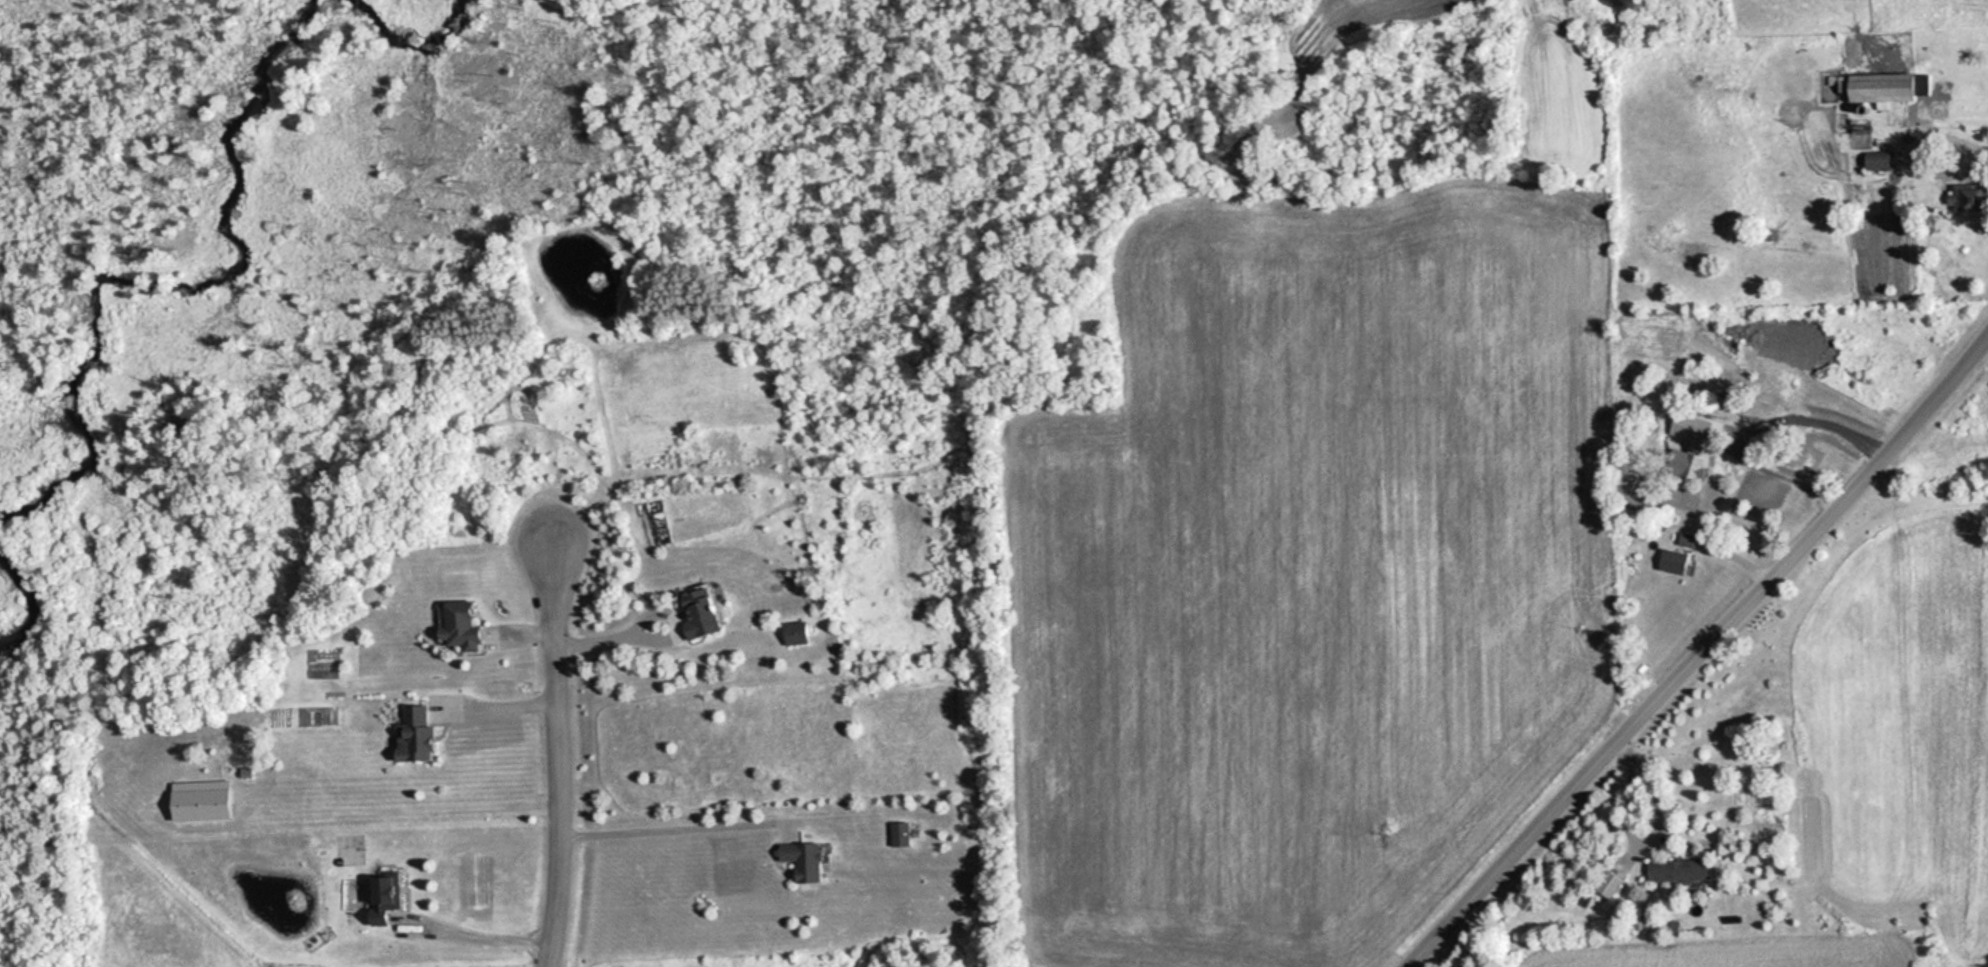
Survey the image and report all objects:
building: (1875, 89)
building: (1865, 162)
building: (1962, 197)
building: (1684, 465)
building: (1684, 541)
building: (1668, 562)
building: (707, 616)
building: (464, 627)
building: (791, 634)
road: (1696, 649)
building: (420, 735)
road: (559, 757)
building: (895, 834)
building: (795, 858)
building: (1674, 869)
building: (1604, 883)
building: (375, 900)

